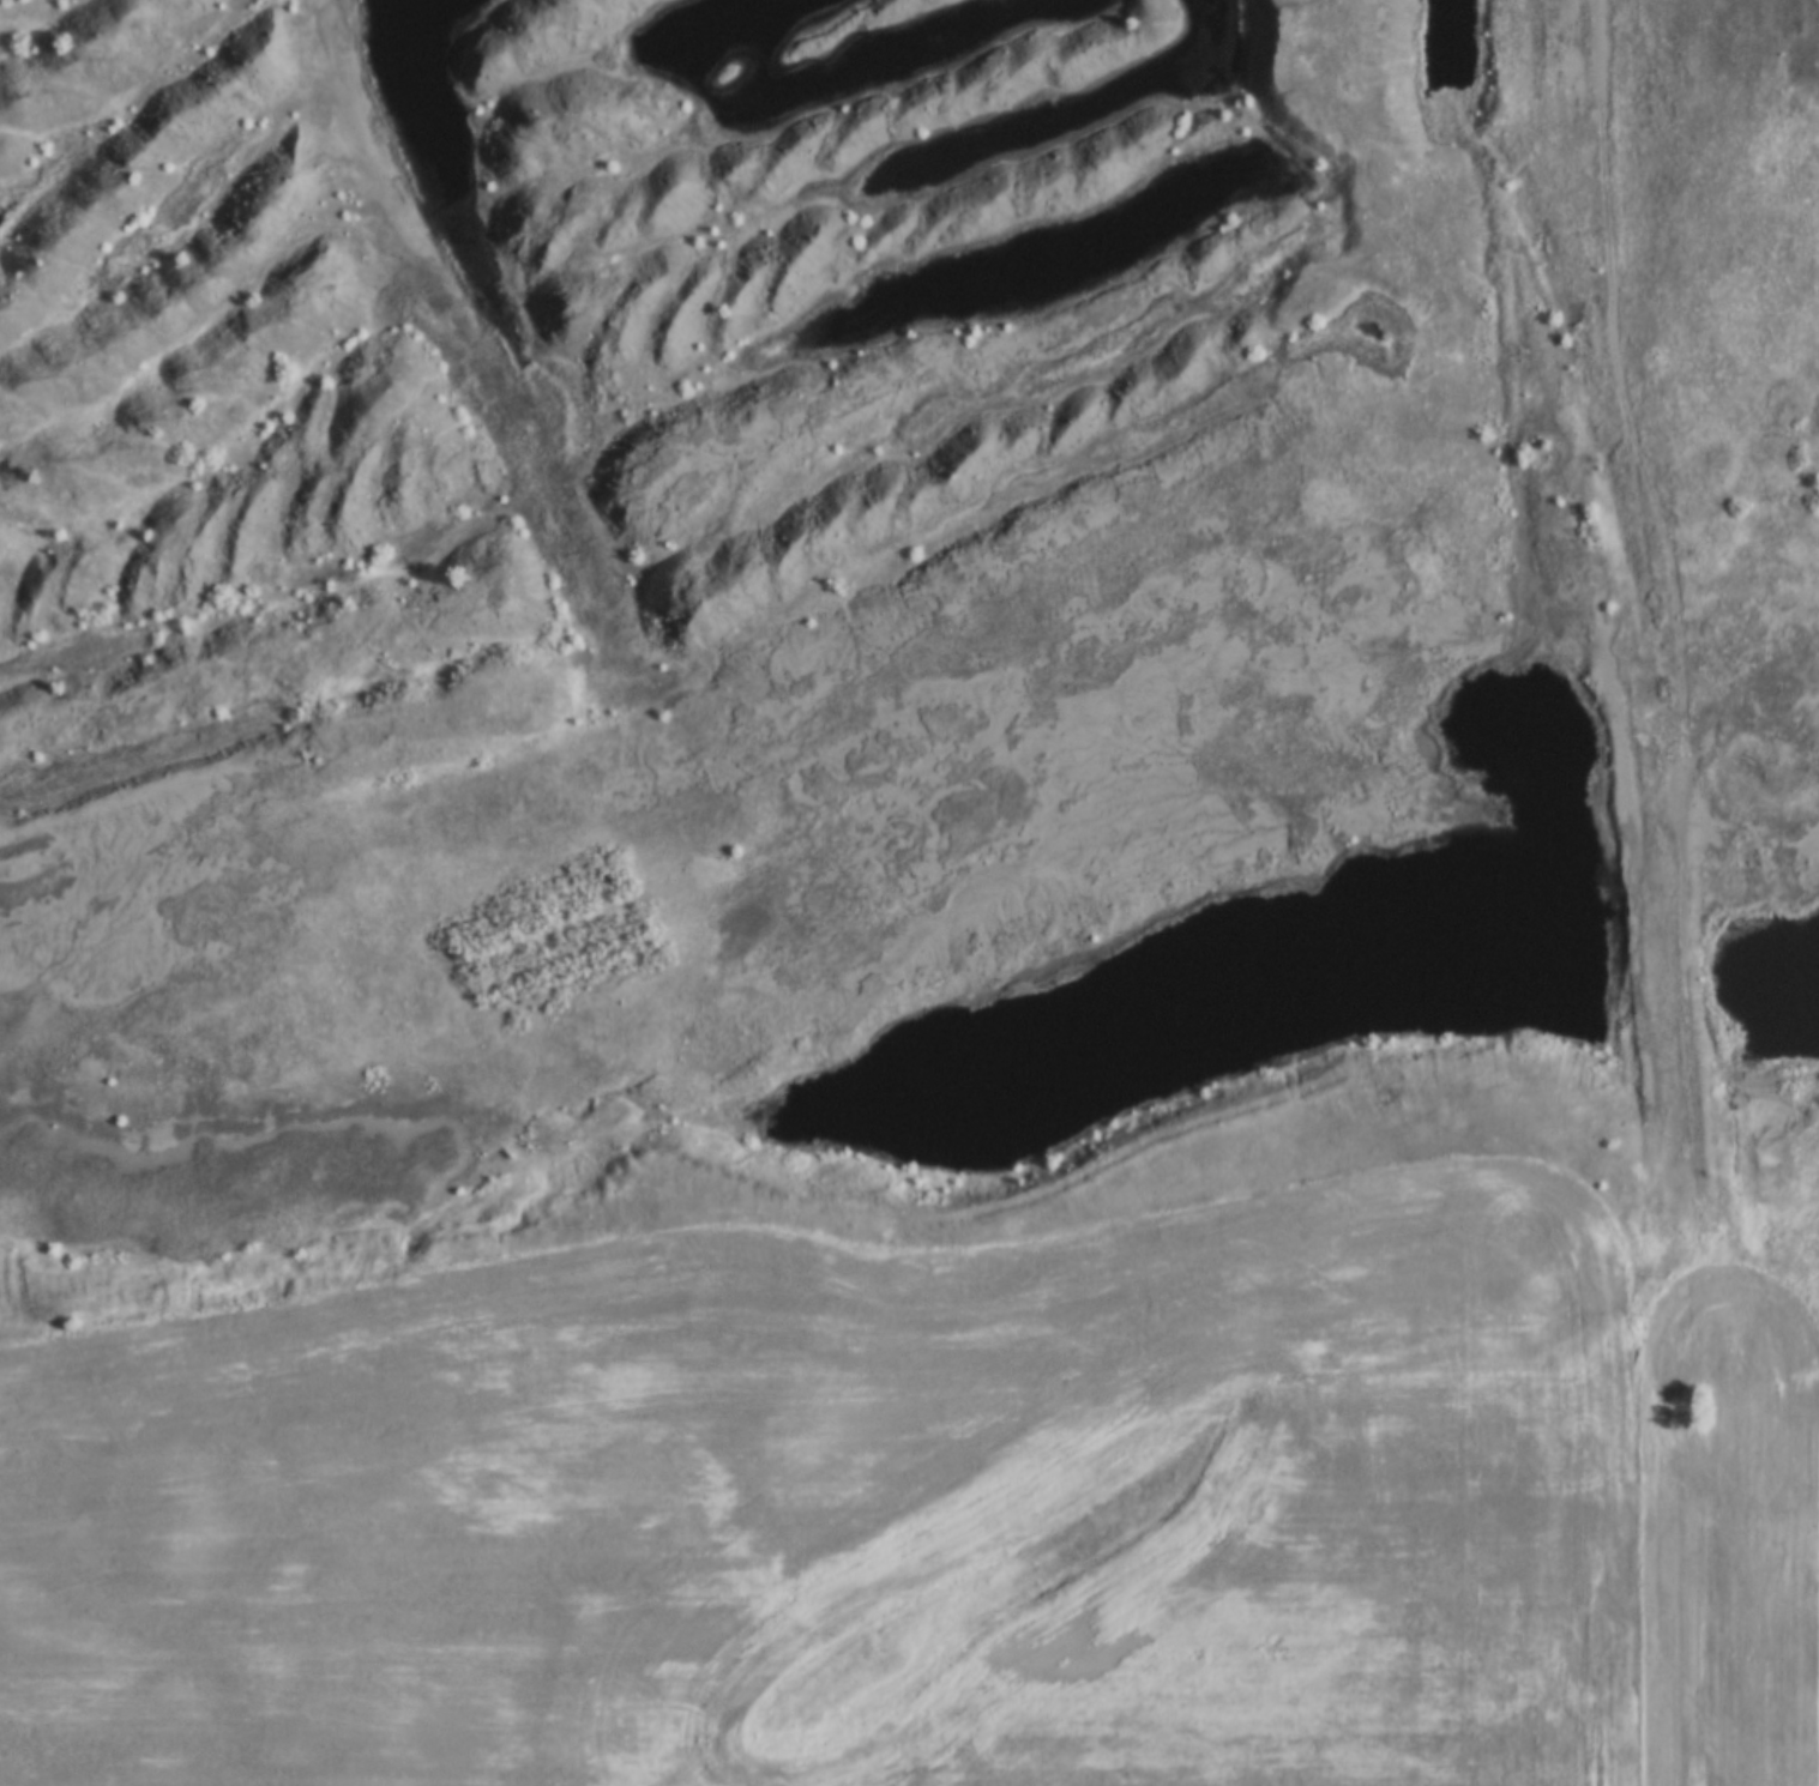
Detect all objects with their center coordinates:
quarry: (896, 563)
road: (1685, 889)

